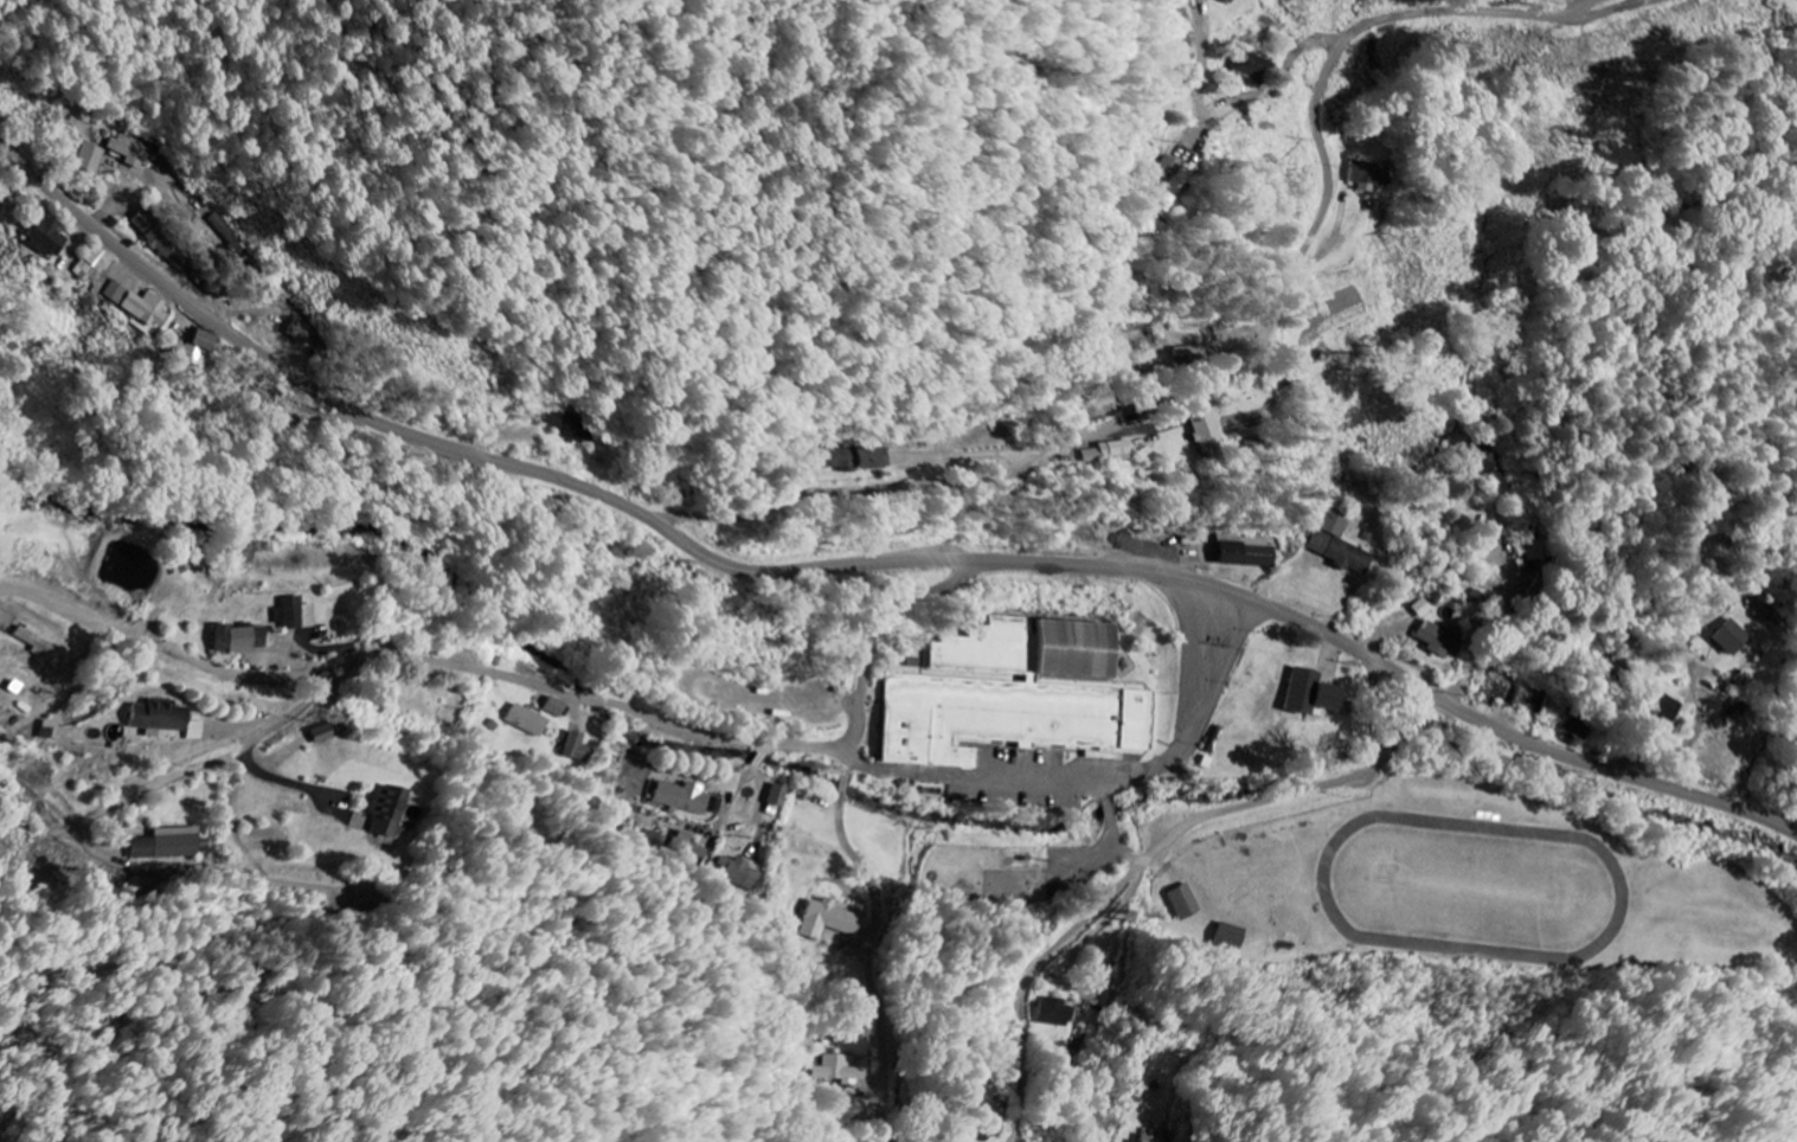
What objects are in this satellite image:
building: (1225, 1)
road: (1619, 12)
building: (1249, 70)
road: (1281, 73)
building: (129, 149)
building: (84, 159)
building: (1365, 175)
building: (1172, 181)
building: (226, 233)
building: (40, 237)
building: (159, 240)
road: (203, 249)
building: (88, 265)
building: (133, 307)
building: (296, 331)
building: (190, 348)
road: (1234, 370)
building: (564, 423)
building: (1204, 430)
building: (1103, 453)
building: (851, 460)
building: (1480, 462)
road: (644, 515)
building: (1337, 546)
building: (1245, 552)
building: (1419, 609)
road: (1496, 612)
building: (295, 615)
road: (879, 623)
building: (1728, 637)
building: (32, 641)
building: (237, 641)
building: (1437, 641)
road: (423, 660)
building: (1305, 694)
building: (1010, 695)
building: (1662, 706)
building: (553, 708)
building: (160, 720)
building: (526, 721)
building: (1573, 727)
building: (320, 734)
road: (1679, 749)
building: (575, 750)
road: (1578, 761)
building: (775, 796)
building: (685, 800)
building: (386, 811)
building: (167, 845)
road: (1159, 846)
building: (687, 847)
building: (739, 873)
building: (1182, 903)
road: (880, 917)
building: (826, 920)
building: (1052, 1014)
building: (973, 1090)

